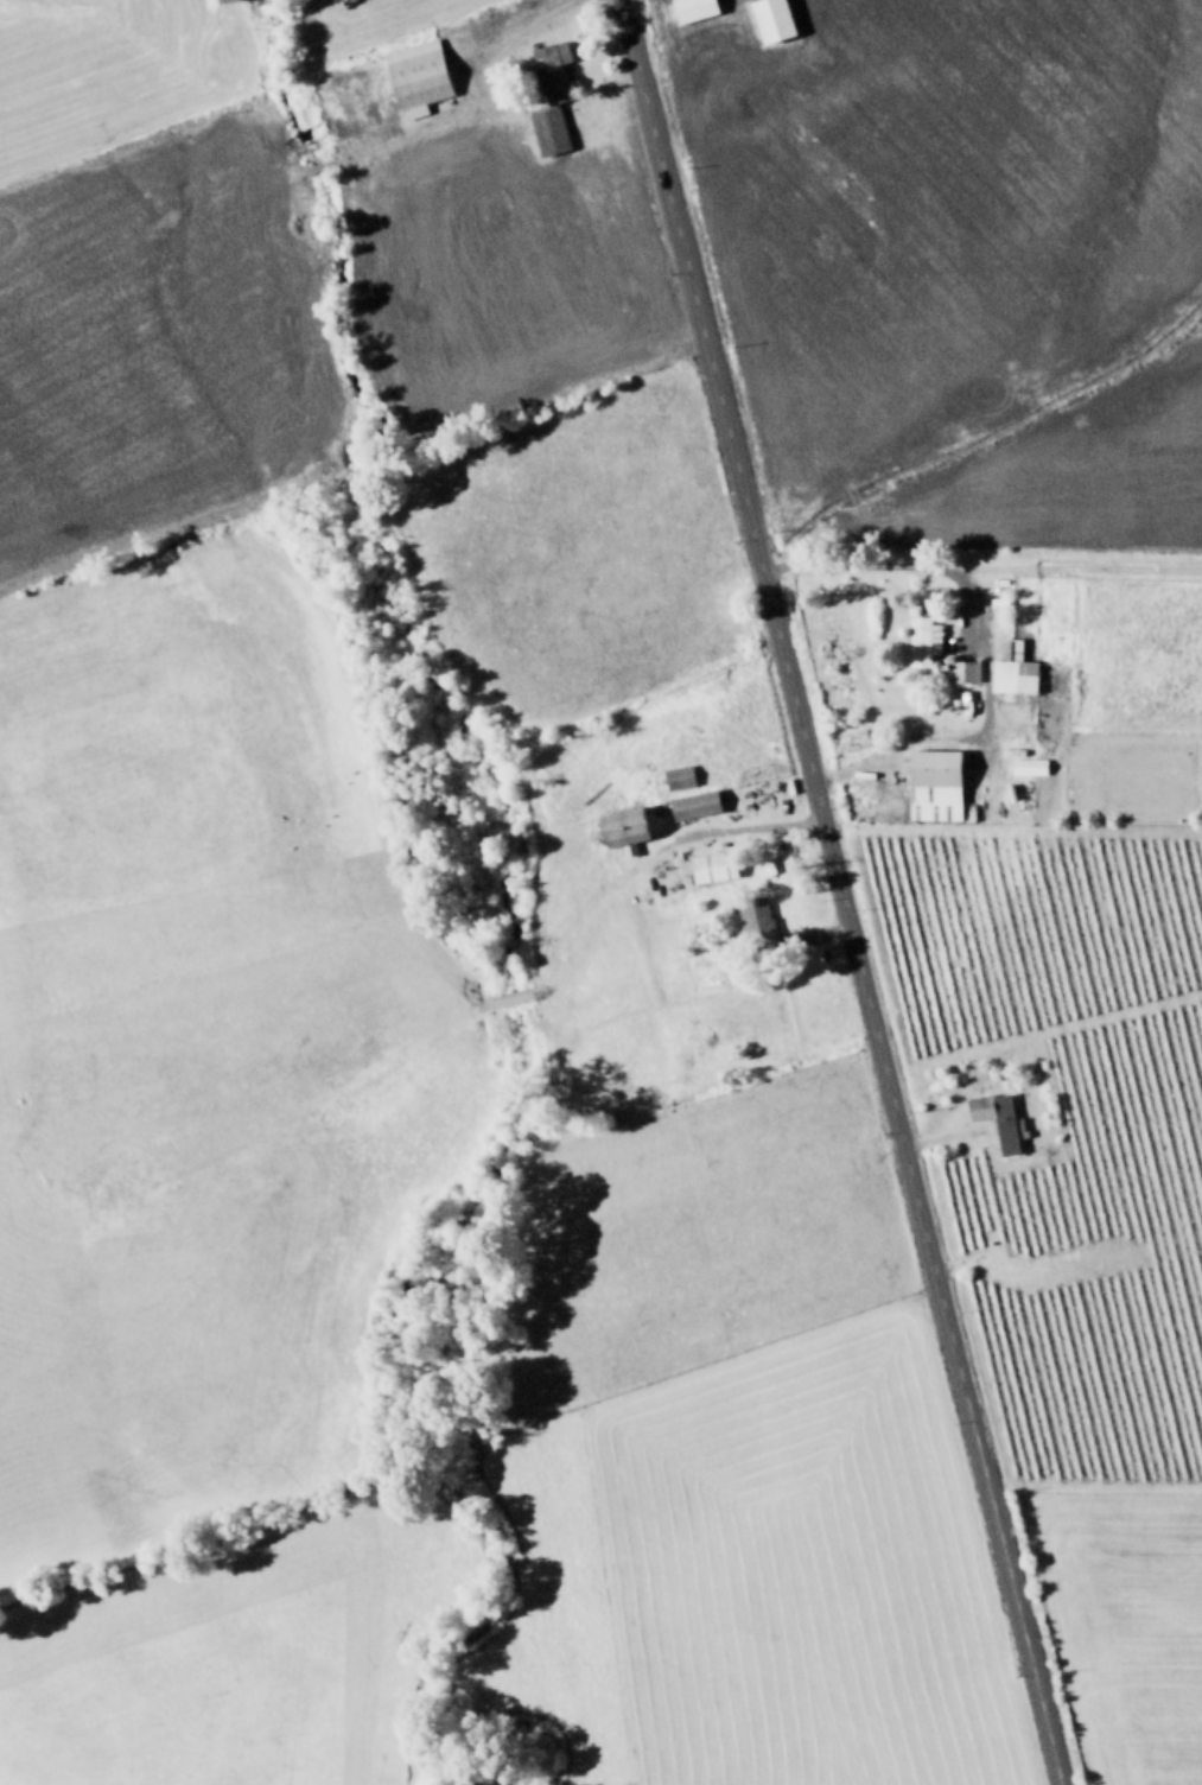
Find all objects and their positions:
building: (699, 8)
building: (778, 19)
building: (557, 69)
building: (421, 75)
building: (551, 129)
road: (892, 565)
building: (920, 640)
building: (960, 671)
building: (1011, 672)
building: (929, 784)
building: (691, 805)
road: (740, 826)
building: (617, 828)
road: (839, 891)
crop: (600, 892)
building: (753, 915)
building: (994, 1118)

